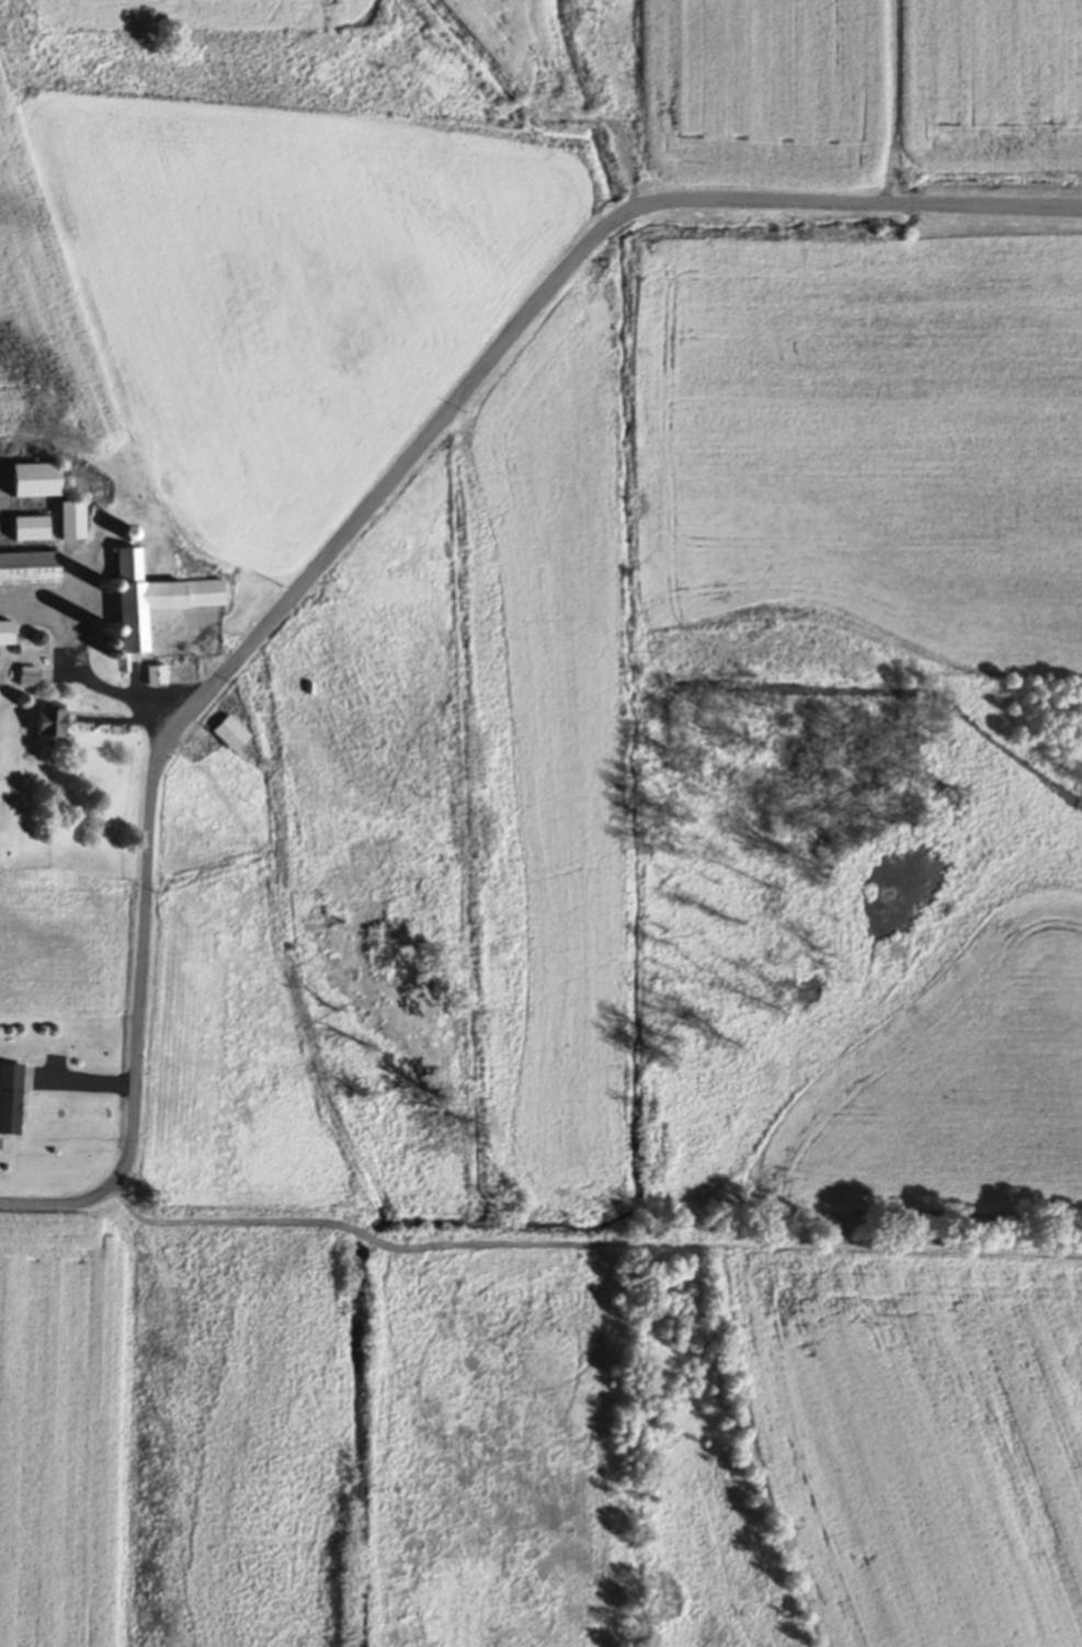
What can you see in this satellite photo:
building: (26, 481)
building: (62, 521)
road: (360, 523)
building: (23, 530)
building: (25, 569)
building: (147, 599)
building: (3, 635)
building: (152, 677)
building: (23, 679)
road: (126, 696)
building: (42, 725)
building: (226, 735)
building: (8, 1101)

